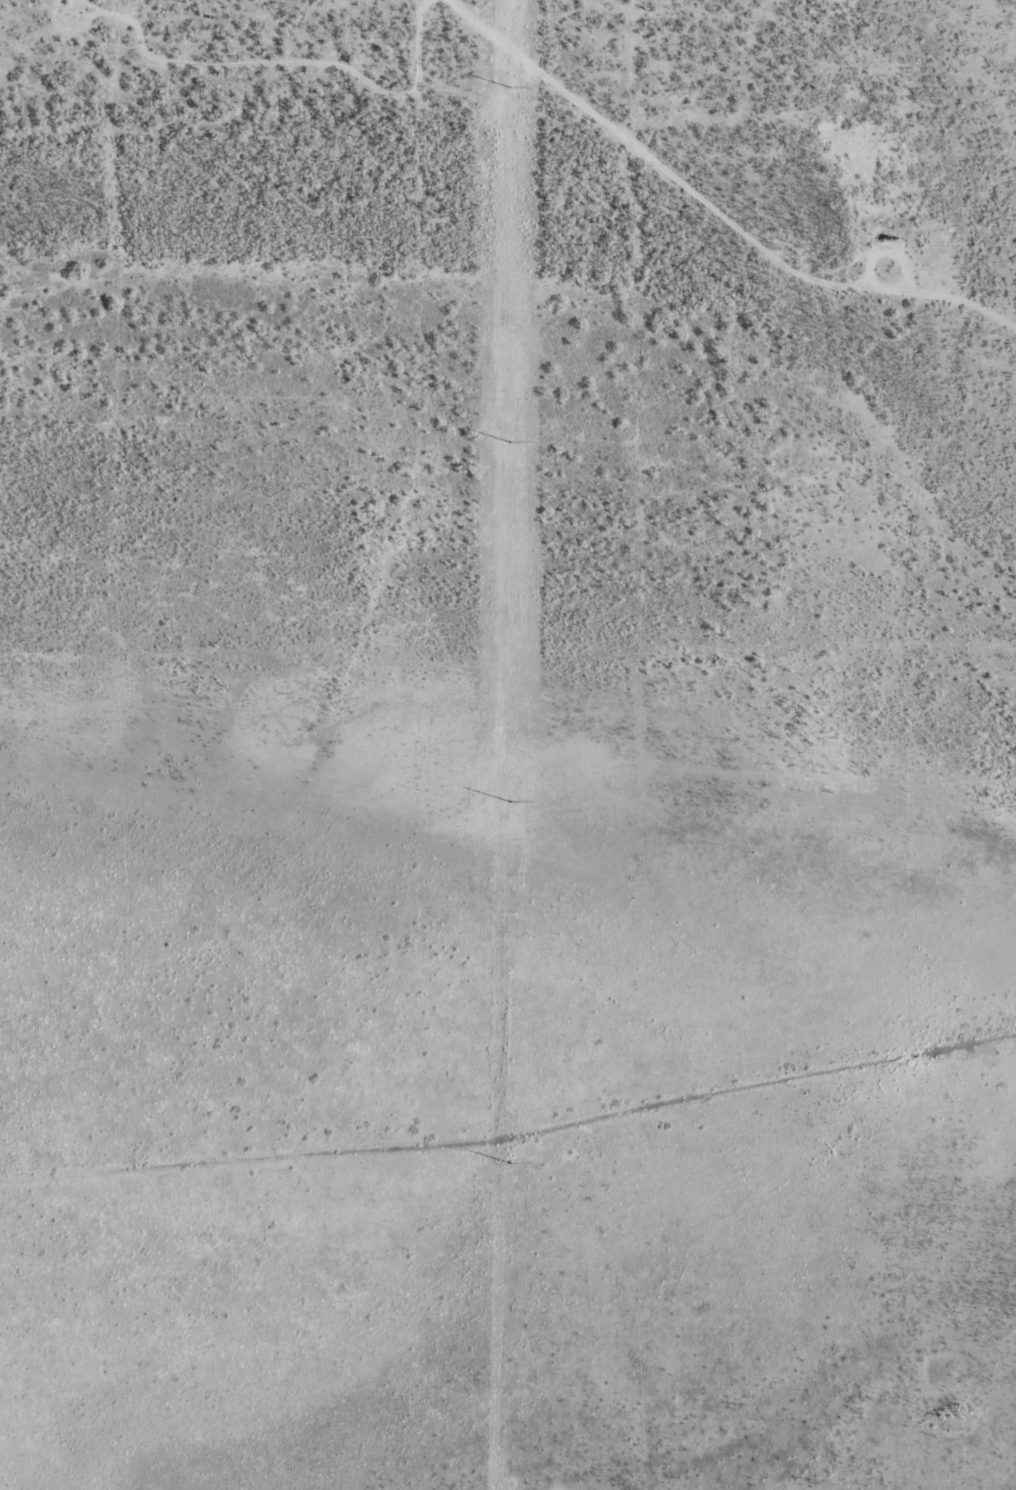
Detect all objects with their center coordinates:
power tower: (509, 75)
power tower: (510, 434)
power tower: (510, 795)
power tower: (510, 1154)

